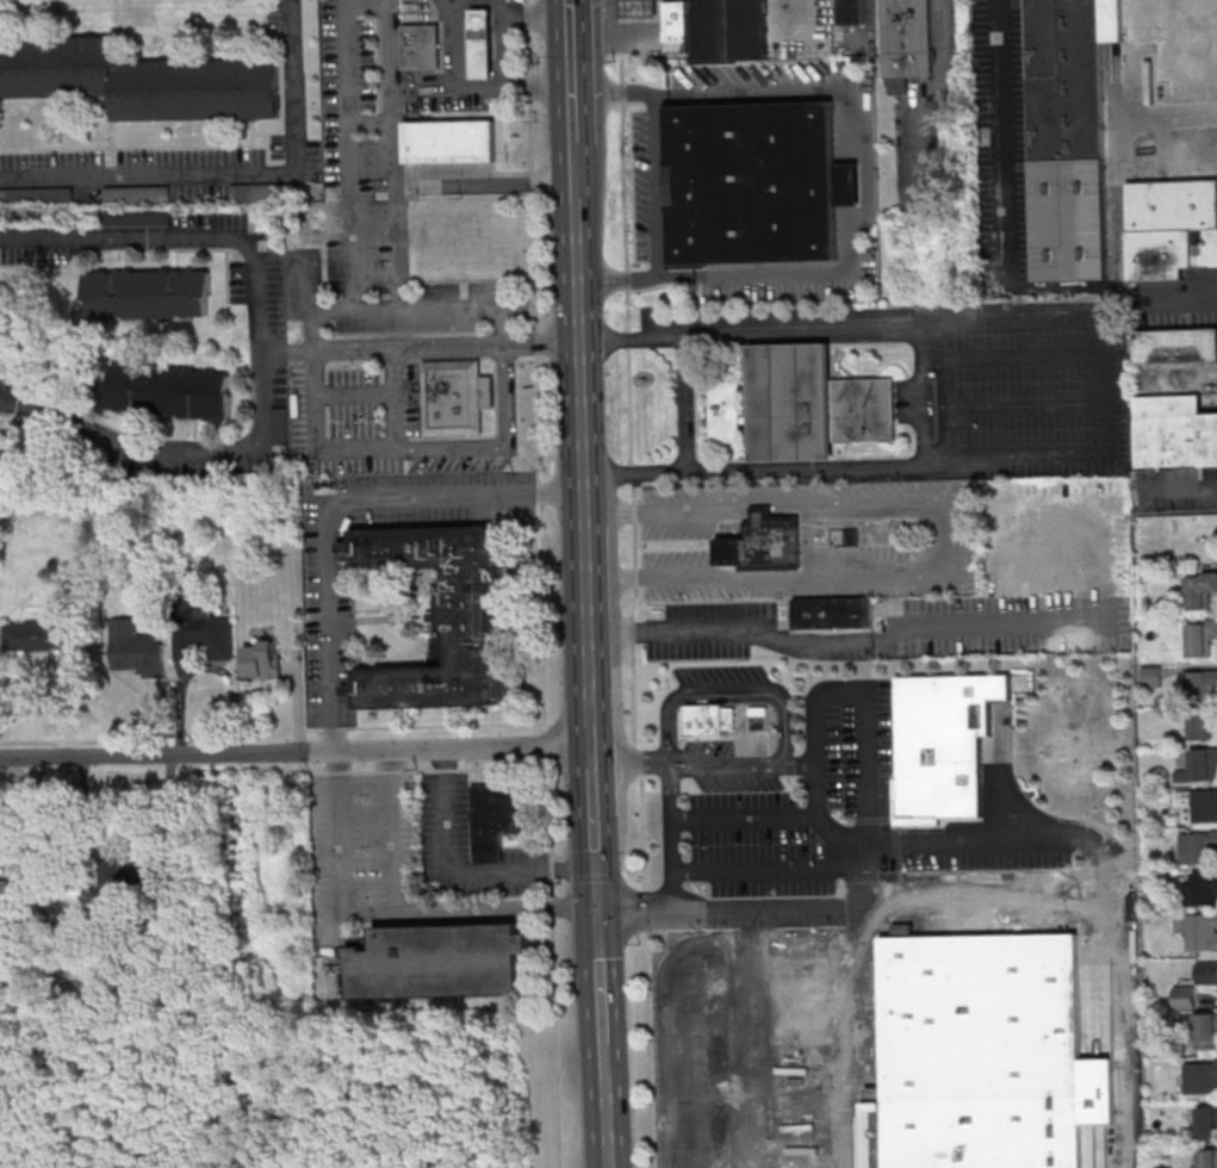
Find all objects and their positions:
building: (639, 8)
building: (851, 12)
road: (527, 17)
building: (676, 19)
building: (729, 31)
building: (907, 43)
building: (483, 44)
building: (422, 48)
road: (509, 51)
road: (572, 70)
building: (138, 81)
road: (467, 86)
road: (935, 98)
road: (372, 122)
road: (347, 133)
building: (1069, 135)
road: (1122, 135)
building: (449, 141)
road: (1004, 143)
road: (575, 172)
road: (869, 172)
road: (232, 173)
road: (488, 182)
building: (755, 184)
road: (654, 188)
building: (263, 192)
building: (137, 194)
building: (36, 195)
road: (399, 216)
building: (137, 219)
building: (1171, 229)
building: (148, 294)
road: (1193, 305)
road: (626, 307)
road: (470, 309)
building: (1175, 347)
road: (447, 349)
road: (286, 352)
road: (261, 353)
road: (580, 364)
road: (1107, 379)
building: (169, 392)
road: (949, 396)
building: (454, 397)
road: (505, 398)
road: (396, 399)
building: (801, 406)
road: (683, 408)
building: (279, 425)
building: (1173, 433)
road: (315, 439)
road: (449, 448)
road: (1184, 486)
road: (876, 499)
road: (337, 505)
park: (1174, 534)
building: (763, 543)
road: (684, 580)
road: (540, 583)
building: (1199, 590)
building: (833, 614)
building: (442, 615)
road: (588, 626)
road: (631, 630)
building: (32, 634)
building: (204, 638)
building: (1200, 639)
road: (842, 645)
building: (136, 648)
building: (262, 658)
building: (1150, 676)
building: (1202, 683)
road: (859, 689)
road: (633, 694)
road: (784, 696)
building: (708, 719)
building: (1200, 723)
road: (420, 725)
road: (592, 734)
building: (942, 738)
road: (296, 751)
road: (592, 754)
road: (639, 759)
road: (631, 763)
building: (1200, 765)
road: (427, 769)
road: (995, 774)
road: (594, 788)
building: (1197, 806)
building: (496, 818)
road: (745, 818)
road: (391, 831)
road: (642, 831)
road: (672, 835)
road: (965, 838)
building: (1198, 847)
road: (596, 861)
road: (765, 869)
road: (461, 871)
road: (858, 874)
building: (129, 875)
road: (985, 881)
building: (1202, 888)
building: (11, 889)
road: (727, 908)
road: (645, 909)
traffic signals: (598, 912)
road: (384, 914)
road: (759, 931)
building: (1202, 931)
building: (440, 961)
road: (679, 971)
building: (1207, 973)
road: (601, 976)
building: (1184, 998)
road: (769, 1004)
road: (1119, 1014)
building: (1205, 1031)
road: (858, 1036)
building: (983, 1048)
road: (648, 1049)
road: (603, 1055)
road: (770, 1060)
building: (1200, 1076)
road: (771, 1110)
road: (606, 1118)
building: (1207, 1122)
building: (1207, 1157)
road: (772, 1162)

